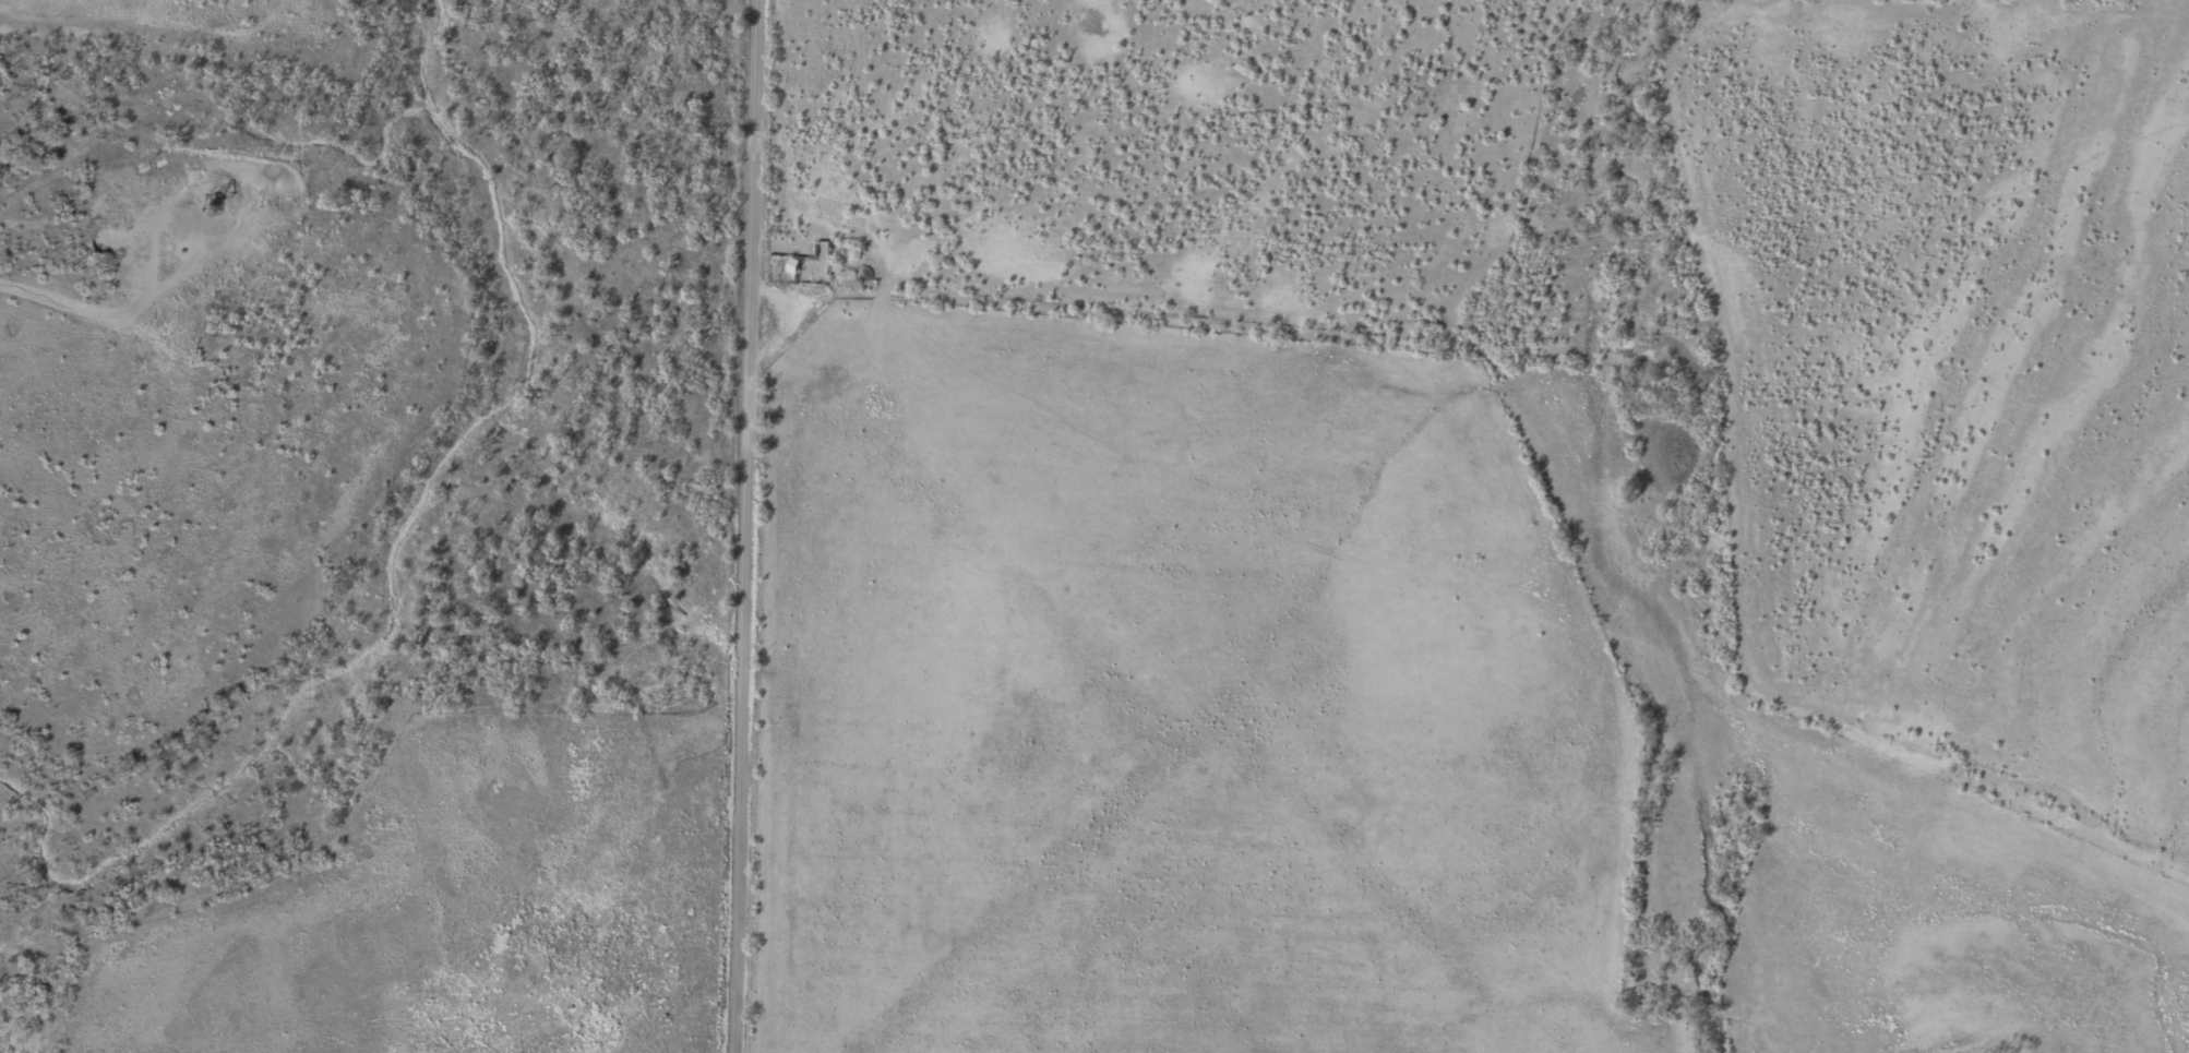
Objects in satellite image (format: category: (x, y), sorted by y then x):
building: (822, 250)
road: (746, 526)

